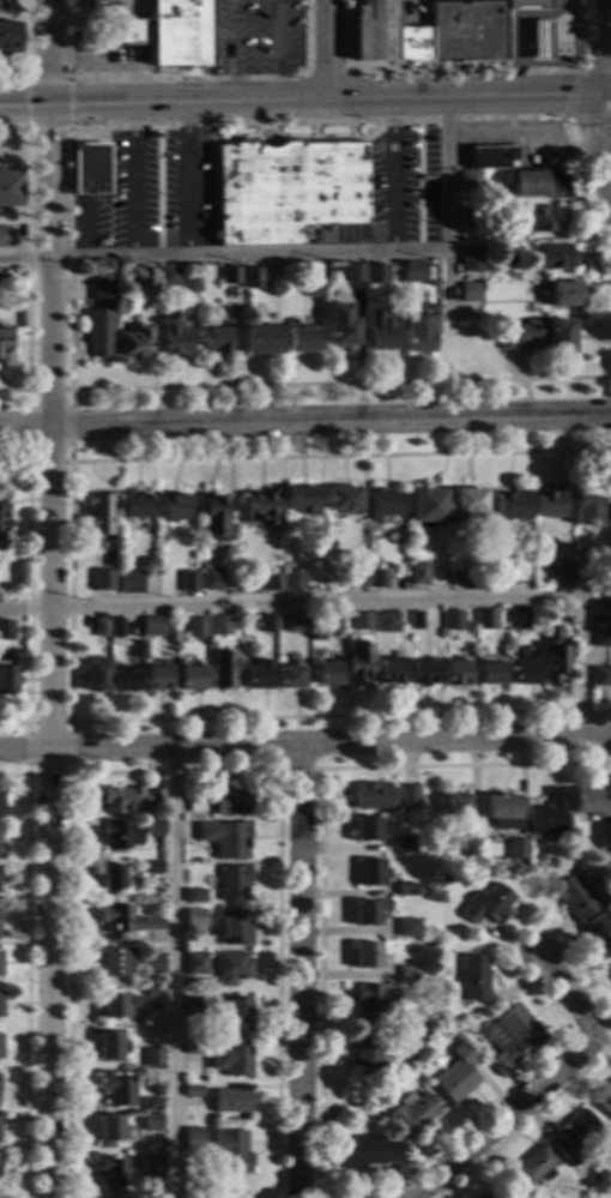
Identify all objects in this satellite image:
building: (104, 6)
building: (435, 32)
building: (164, 34)
building: (8, 40)
building: (539, 42)
road: (606, 48)
road: (326, 50)
road: (229, 52)
road: (277, 52)
road: (599, 68)
road: (327, 70)
road: (465, 70)
road: (582, 71)
road: (194, 78)
road: (67, 79)
road: (12, 80)
road: (607, 95)
traffic signals: (604, 96)
road: (465, 98)
road: (163, 106)
road: (568, 114)
road: (606, 119)
road: (601, 140)
building: (491, 157)
building: (91, 168)
building: (471, 180)
road: (132, 181)
building: (537, 185)
building: (11, 187)
road: (67, 189)
building: (289, 189)
road: (444, 205)
building: (470, 216)
building: (544, 219)
building: (5, 236)
road: (223, 253)
building: (555, 255)
building: (472, 258)
road: (25, 259)
building: (415, 271)
building: (353, 272)
building: (374, 272)
building: (147, 276)
building: (169, 276)
building: (231, 276)
building: (253, 278)
building: (0, 283)
building: (313, 287)
building: (470, 293)
building: (564, 293)
building: (101, 321)
building: (341, 325)
building: (379, 330)
building: (173, 333)
building: (418, 333)
building: (539, 336)
building: (218, 338)
building: (301, 338)
building: (262, 339)
building: (4, 341)
building: (135, 342)
road: (304, 422)
road: (65, 462)
building: (302, 498)
building: (343, 499)
building: (550, 501)
building: (135, 504)
building: (587, 504)
building: (382, 505)
building: (428, 506)
building: (512, 506)
building: (175, 507)
building: (466, 507)
building: (264, 508)
building: (99, 513)
building: (214, 516)
building: (2, 517)
building: (145, 526)
building: (0, 543)
building: (606, 566)
building: (559, 570)
building: (419, 573)
building: (503, 573)
building: (585, 573)
building: (460, 576)
building: (353, 577)
building: (211, 578)
building: (294, 578)
building: (377, 579)
building: (188, 580)
building: (274, 580)
building: (131, 583)
building: (104, 584)
road: (25, 592)
road: (67, 592)
building: (603, 596)
road: (48, 598)
road: (363, 601)
building: (519, 618)
building: (486, 619)
building: (416, 620)
building: (331, 621)
building: (364, 621)
building: (267, 622)
building: (294, 622)
building: (388, 622)
building: (453, 622)
building: (152, 625)
building: (195, 626)
building: (220, 626)
building: (101, 627)
building: (116, 627)
building: (2, 630)
building: (603, 637)
building: (556, 655)
building: (361, 663)
building: (522, 667)
building: (490, 668)
building: (224, 669)
building: (389, 672)
building: (424, 672)
building: (456, 673)
building: (258, 674)
building: (327, 674)
building: (95, 676)
building: (291, 676)
building: (601, 676)
building: (190, 678)
building: (7, 679)
building: (157, 679)
building: (121, 680)
road: (304, 742)
road: (274, 765)
road: (173, 771)
road: (66, 773)
building: (409, 793)
building: (373, 796)
building: (131, 800)
building: (219, 801)
building: (589, 802)
building: (455, 808)
building: (504, 811)
building: (548, 814)
building: (153, 826)
building: (367, 829)
building: (119, 835)
building: (225, 837)
road: (317, 837)
building: (406, 844)
building: (472, 848)
building: (518, 848)
building: (151, 867)
building: (371, 872)
building: (111, 875)
building: (443, 878)
building: (234, 883)
building: (407, 890)
building: (195, 895)
building: (577, 898)
building: (488, 905)
building: (369, 911)
building: (195, 919)
building: (126, 921)
building: (234, 927)
building: (409, 928)
building: (600, 933)
building: (365, 956)
building: (115, 961)
building: (153, 962)
building: (196, 963)
building: (232, 968)
road: (175, 971)
road: (302, 971)
road: (24, 973)
building: (407, 973)
building: (474, 977)
building: (155, 994)
building: (370, 998)
building: (0, 1004)
building: (119, 1005)
building: (199, 1006)
building: (236, 1015)
building: (409, 1015)
building: (467, 1022)
building: (153, 1035)
building: (513, 1037)
building: (109, 1046)
building: (195, 1047)
building: (367, 1050)
building: (232, 1058)
building: (152, 1059)
building: (459, 1074)
road: (539, 1085)
building: (119, 1089)
building: (193, 1090)
road: (559, 1090)
road: (498, 1096)
building: (234, 1100)
building: (605, 1100)
building: (153, 1104)
building: (415, 1114)
building: (153, 1122)
building: (109, 1130)
building: (576, 1133)
building: (195, 1140)
building: (231, 1150)
building: (365, 1151)
building: (153, 1167)
building: (536, 1167)
building: (113, 1170)
building: (497, 1194)
building: (528, 1194)
building: (151, 1197)

